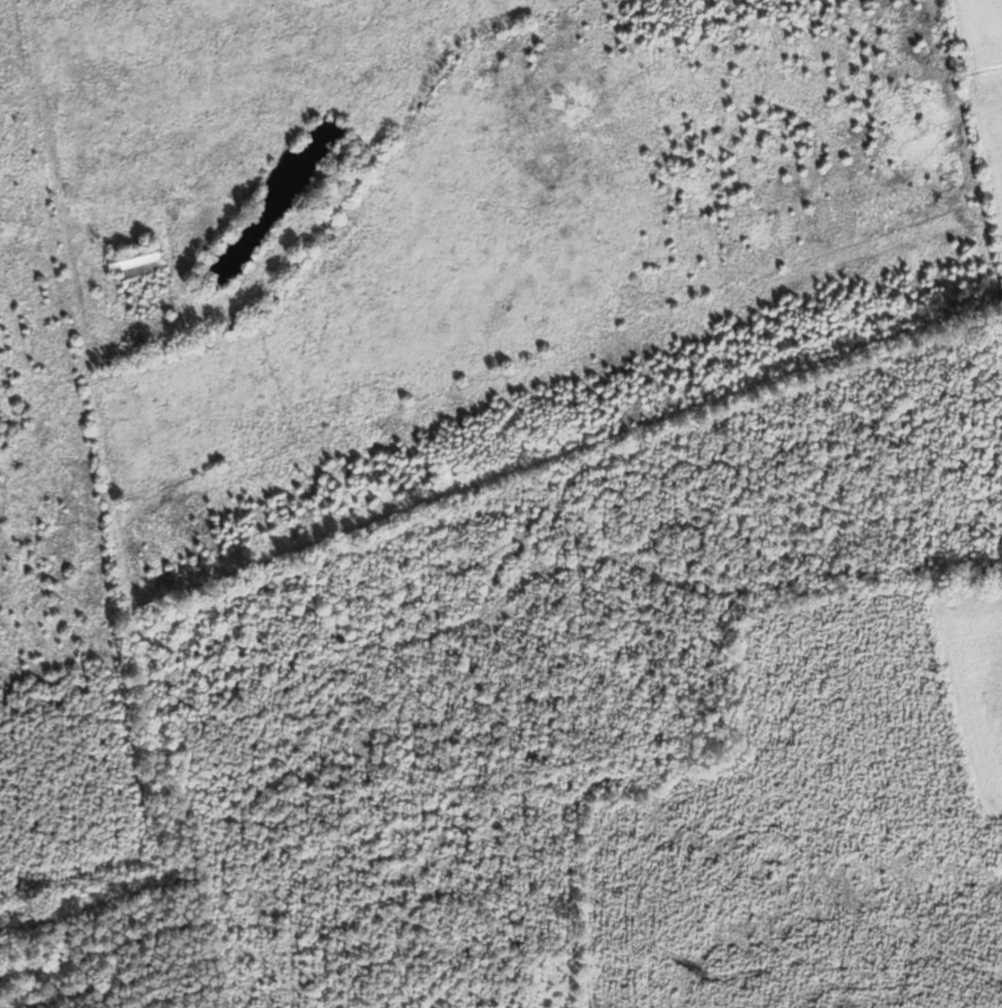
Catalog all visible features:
building: (133, 262)

